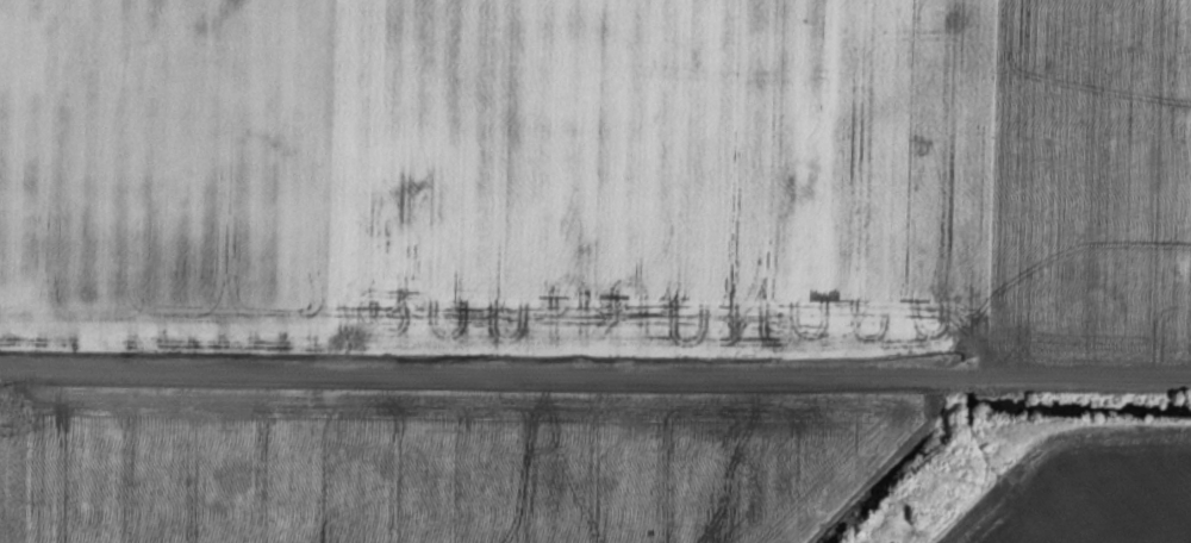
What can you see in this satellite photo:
road: (594, 377)

